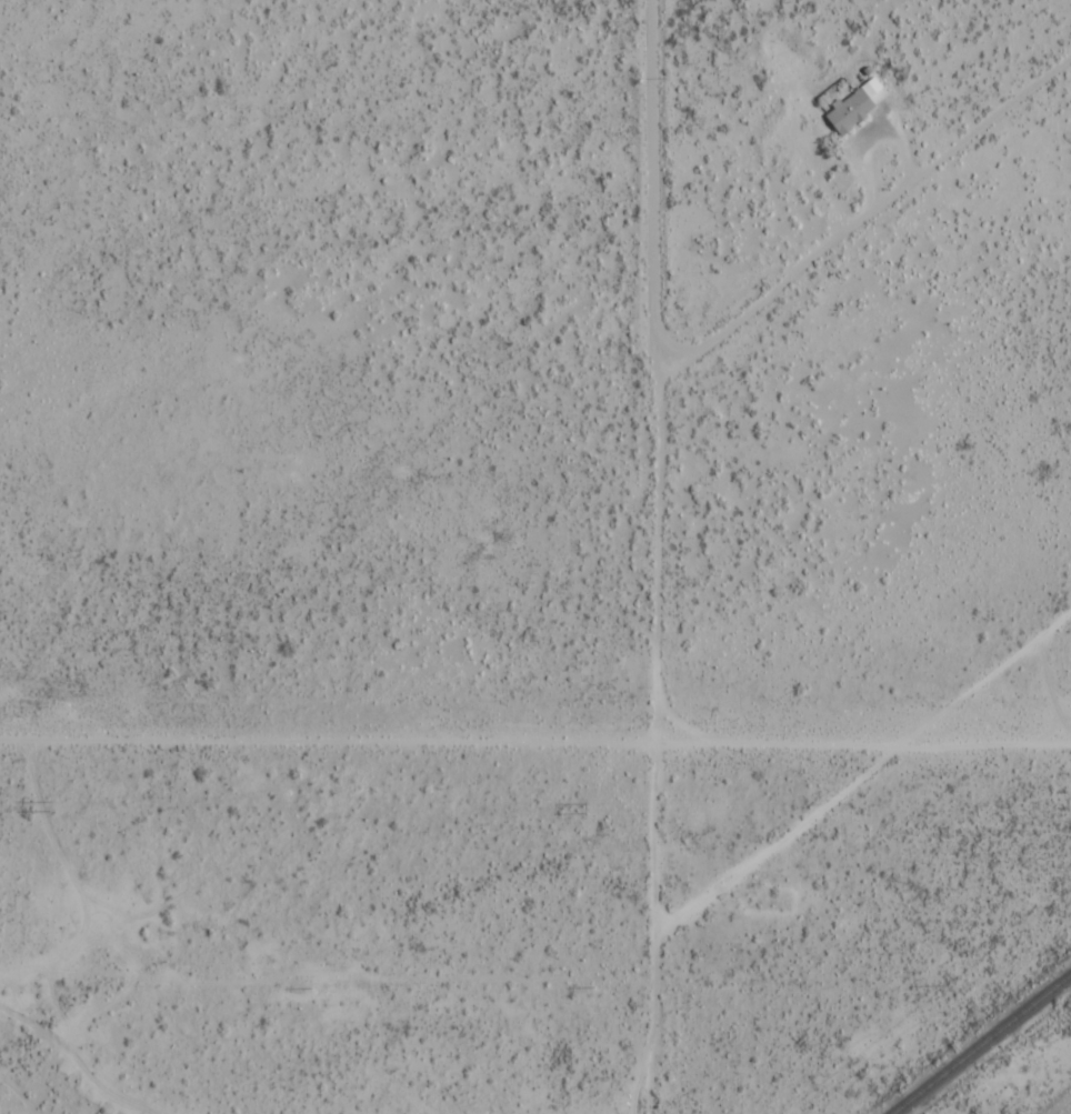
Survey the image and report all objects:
road: (649, 179)
road: (871, 212)
railway: (981, 1043)

